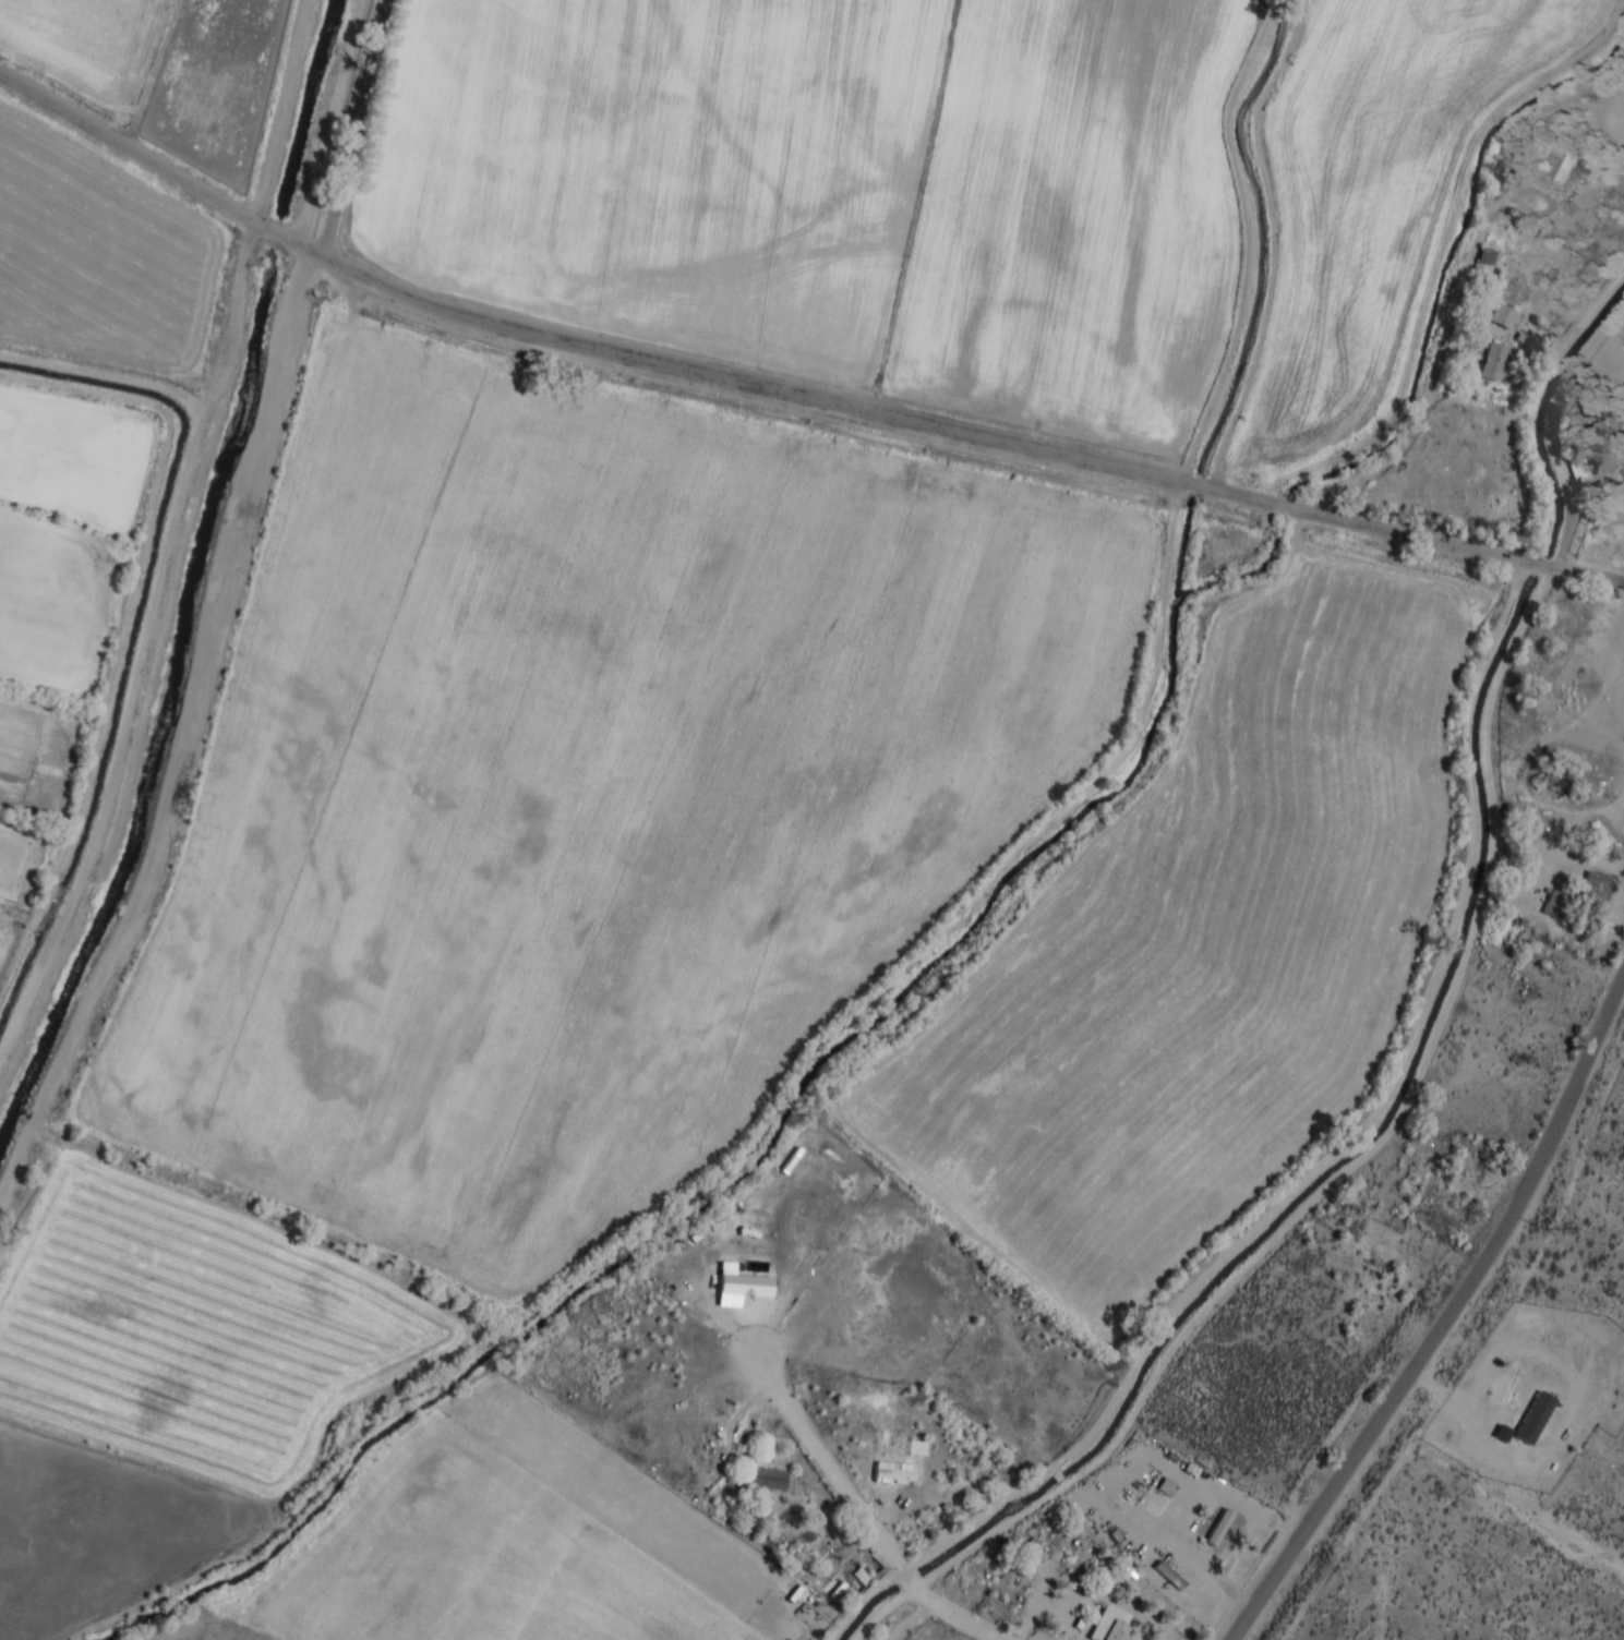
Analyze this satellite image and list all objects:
road: (156, 73)
road: (356, 130)
building: (1564, 160)
building: (1485, 255)
building: (1502, 314)
building: (1492, 363)
road: (1434, 376)
road: (1445, 390)
road: (785, 396)
building: (1601, 451)
building: (1576, 472)
road: (1573, 508)
building: (1595, 890)
building: (1553, 901)
road: (1358, 1159)
building: (748, 1285)
road: (1447, 1321)
building: (1533, 1418)
building: (919, 1447)
building: (897, 1473)
building: (768, 1478)
building: (1167, 1484)
building: (940, 1488)
road: (859, 1512)
road: (1541, 1521)
building: (1211, 1529)
building: (862, 1575)
building: (1172, 1577)
building: (1106, 1578)
building: (1115, 1625)

